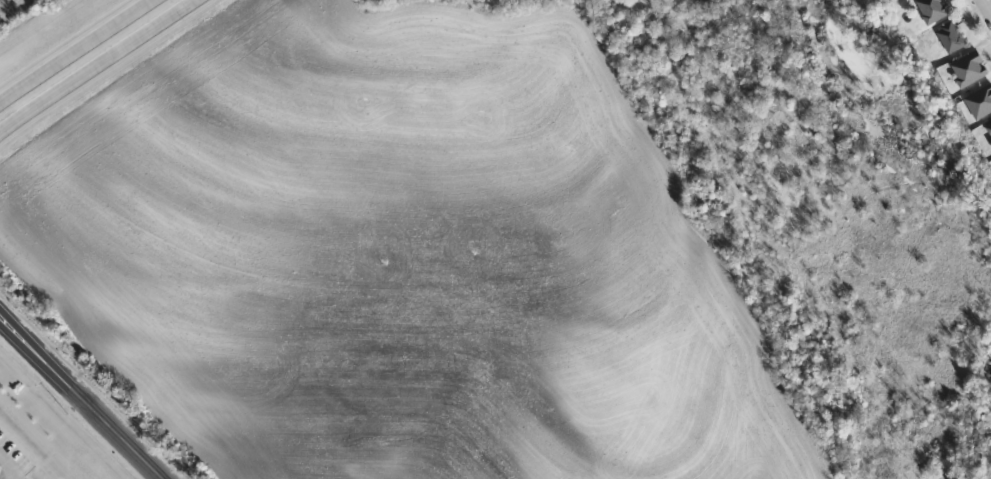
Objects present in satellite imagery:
road: (988, 4)
building: (934, 9)
building: (952, 37)
road: (74, 48)
road: (95, 65)
road: (82, 397)
parking lot: (11, 460)
road: (5, 463)

